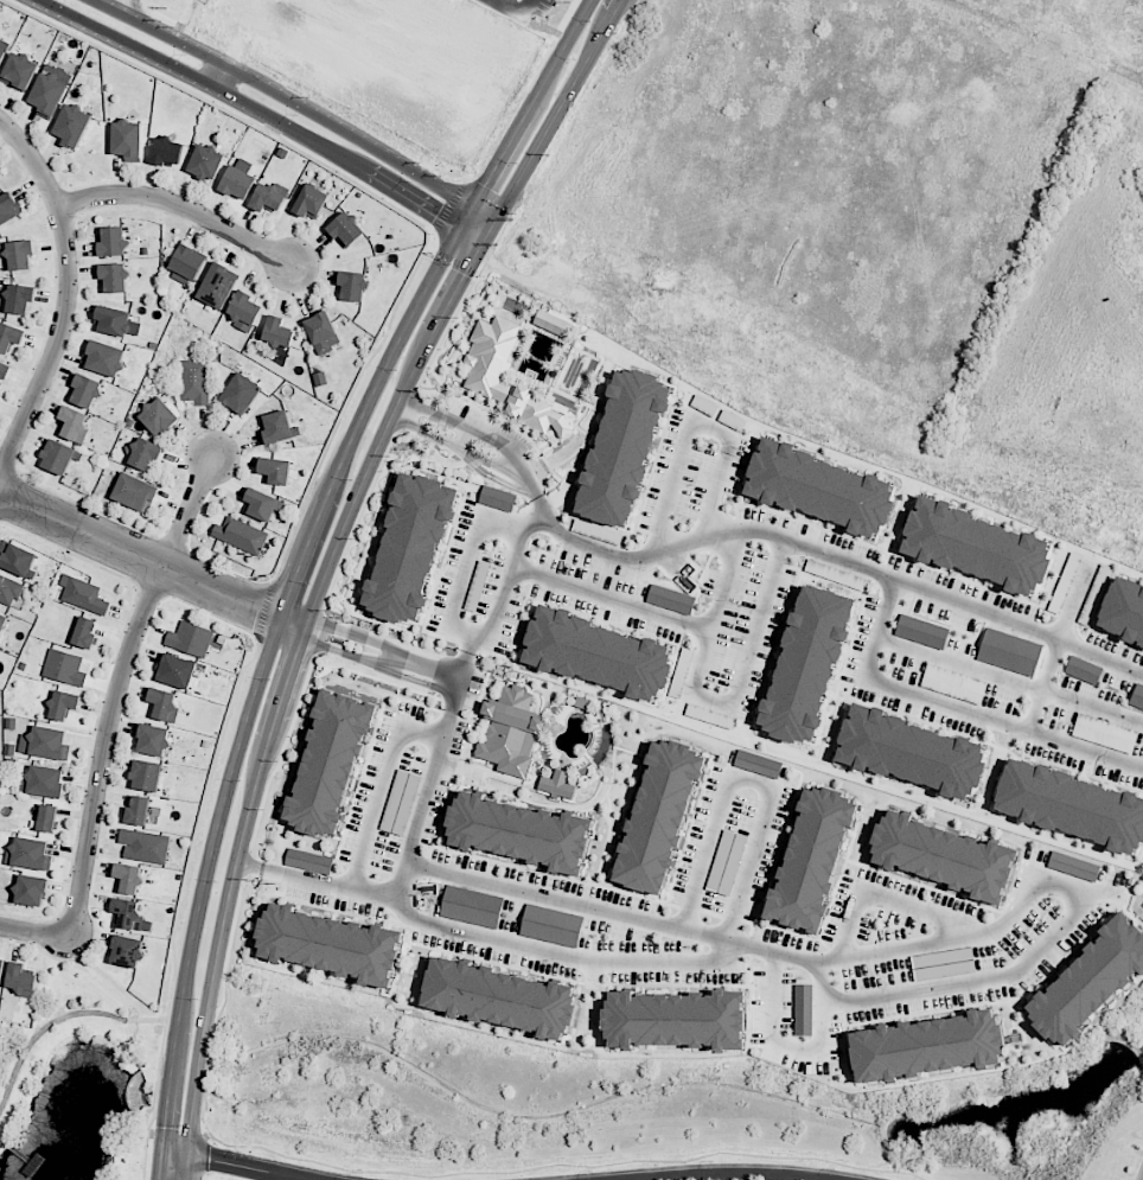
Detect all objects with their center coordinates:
road: (122, 6)
street lamp: (588, 20)
building: (2, 56)
street lamp: (574, 59)
building: (23, 70)
road: (222, 78)
building: (51, 94)
road: (296, 103)
road: (260, 113)
building: (76, 123)
building: (130, 140)
building: (170, 151)
building: (210, 160)
street lamp: (516, 162)
building: (238, 183)
traffic signals: (485, 186)
building: (270, 197)
building: (311, 200)
road: (180, 205)
building: (7, 206)
traffic signals: (436, 217)
building: (349, 229)
building: (114, 240)
building: (21, 254)
building: (191, 261)
street lamp: (449, 264)
traffic signals: (464, 275)
building: (116, 276)
building: (356, 283)
building: (221, 285)
road: (66, 293)
building: (21, 296)
building: (249, 310)
building: (113, 320)
building: (553, 324)
building: (323, 331)
building: (281, 332)
building: (11, 337)
building: (108, 358)
street lamp: (395, 370)
building: (5, 371)
building: (486, 374)
building: (196, 381)
building: (89, 389)
building: (245, 393)
road: (403, 413)
building: (161, 416)
building: (76, 421)
road: (695, 426)
building: (281, 428)
road: (462, 430)
road: (459, 438)
road: (454, 444)
building: (622, 446)
building: (149, 453)
building: (62, 454)
building: (275, 470)
road: (521, 477)
street lamp: (351, 478)
building: (818, 487)
building: (139, 491)
building: (497, 498)
building: (262, 504)
road: (542, 504)
road: (716, 534)
building: (241, 535)
building: (973, 546)
road: (306, 548)
building: (409, 548)
road: (466, 555)
building: (15, 557)
road: (151, 561)
road: (330, 563)
street lamp: (309, 582)
building: (1064, 583)
building: (9, 589)
road: (503, 594)
building: (84, 595)
building: (670, 599)
road: (1074, 601)
building: (1124, 610)
road: (663, 615)
road: (1020, 624)
building: (4, 626)
building: (921, 631)
building: (88, 633)
building: (192, 639)
road: (755, 645)
building: (1009, 651)
building: (596, 653)
road: (397, 658)
road: (702, 661)
road: (960, 662)
road: (460, 663)
building: (806, 663)
building: (66, 668)
building: (1084, 670)
building: (180, 671)
street lamp: (269, 678)
building: (953, 683)
road: (1045, 684)
road: (116, 689)
building: (1137, 696)
building: (165, 703)
building: (66, 706)
road: (957, 706)
road: (1093, 707)
building: (510, 732)
building: (1105, 733)
building: (157, 740)
building: (52, 744)
building: (908, 752)
building: (758, 764)
building: (330, 765)
building: (149, 777)
street lamp: (240, 779)
road: (751, 780)
building: (47, 783)
building: (557, 785)
road: (384, 787)
building: (400, 803)
building: (1069, 805)
building: (142, 811)
building: (657, 815)
building: (51, 818)
building: (518, 831)
building: (147, 846)
building: (33, 854)
building: (944, 855)
building: (811, 859)
building: (308, 861)
building: (726, 862)
road: (249, 865)
building: (1073, 866)
building: (132, 879)
street lamp: (215, 881)
road: (404, 881)
road: (489, 884)
building: (34, 891)
road: (887, 899)
building: (472, 906)
building: (129, 914)
building: (551, 925)
road: (36, 931)
building: (332, 944)
building: (129, 951)
building: (943, 964)
building: (2, 969)
road: (823, 976)
building: (24, 977)
building: (1090, 980)
road: (78, 983)
building: (499, 996)
street lamp: (196, 997)
building: (803, 1009)
road: (65, 1019)
building: (677, 1021)
road: (778, 1041)
building: (927, 1047)
park: (77, 1078)
road: (155, 1101)
street lamp: (180, 1124)
street lamp: (240, 1150)
street lamp: (711, 1161)
road: (159, 1163)
road: (236, 1163)
street lamp: (834, 1168)
street lamp: (590, 1171)
street lamp: (349, 1173)
road: (723, 1173)
street lamp: (470, 1179)

